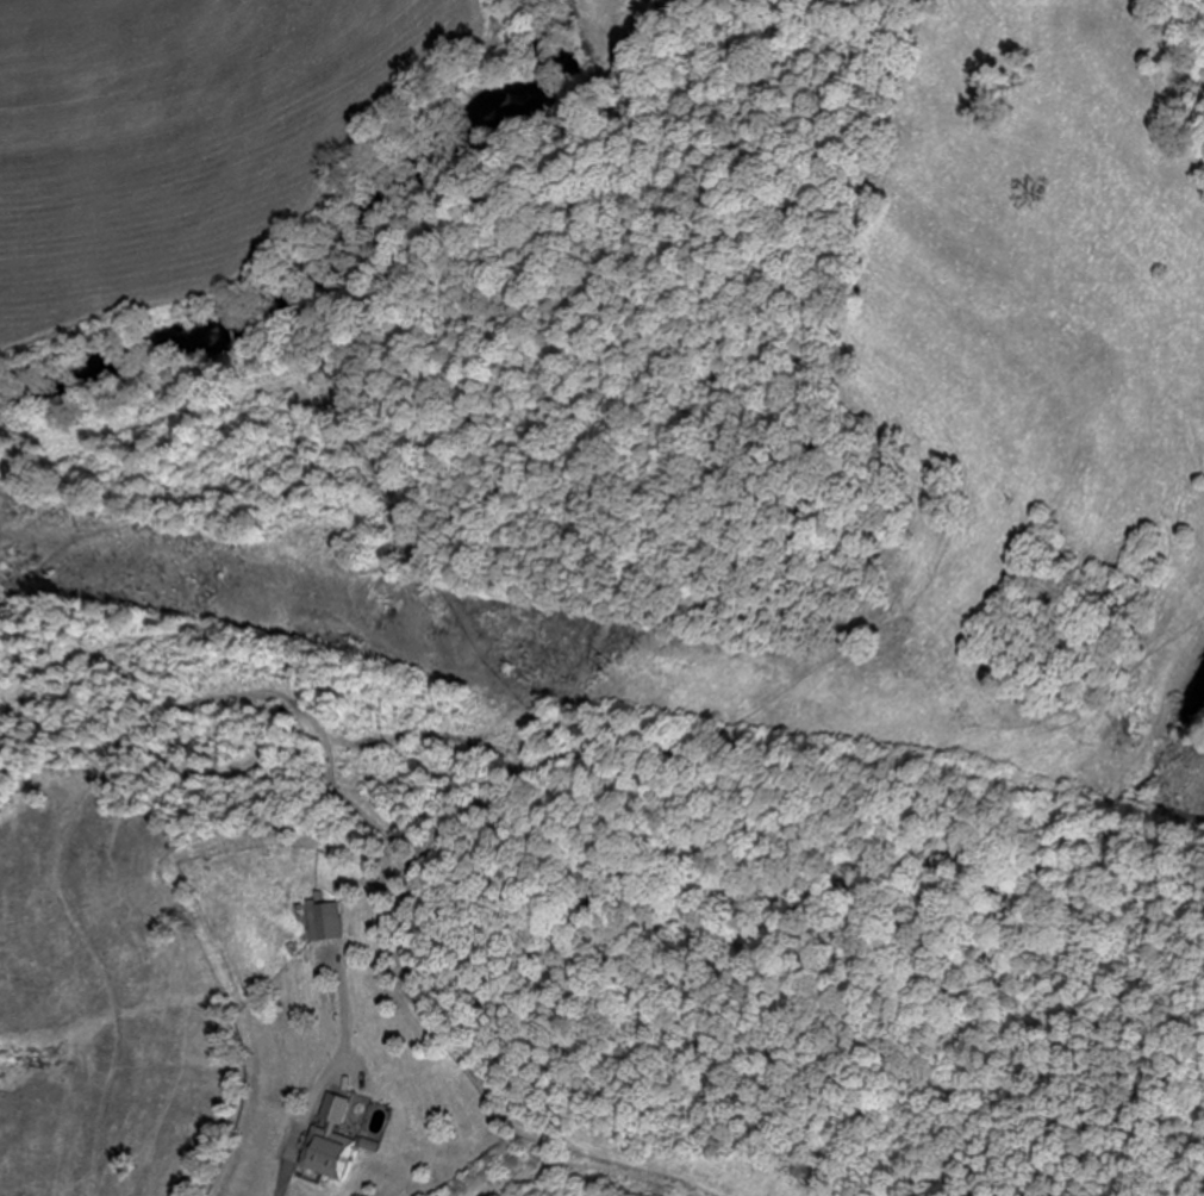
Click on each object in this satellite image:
building: (327, 924)
building: (332, 1141)

